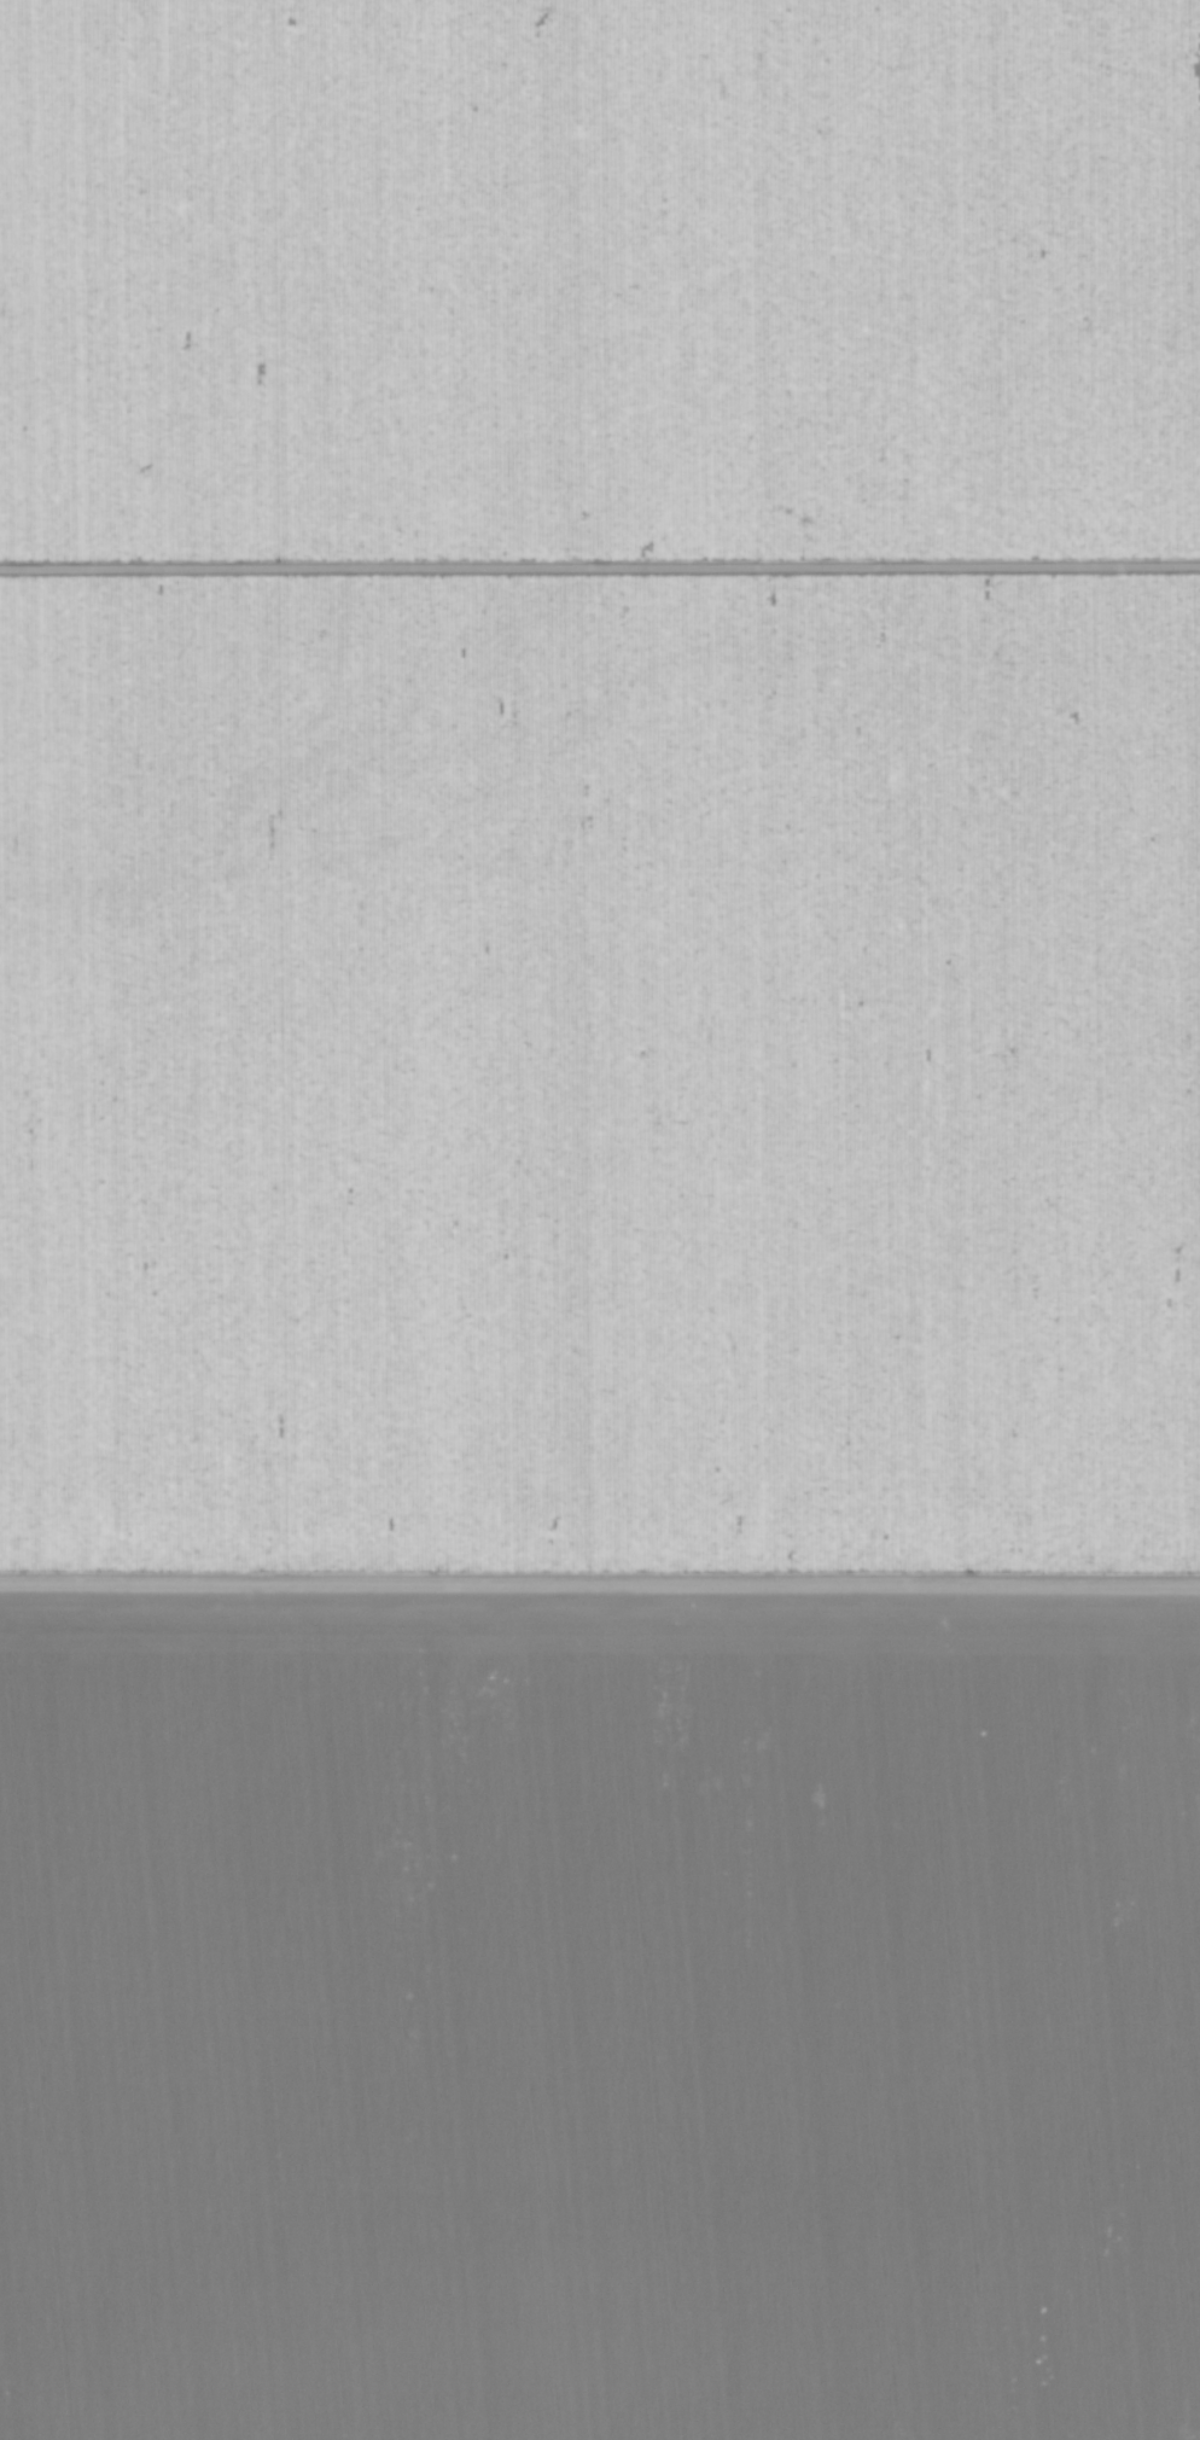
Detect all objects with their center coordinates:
crop: (600, 1219)

